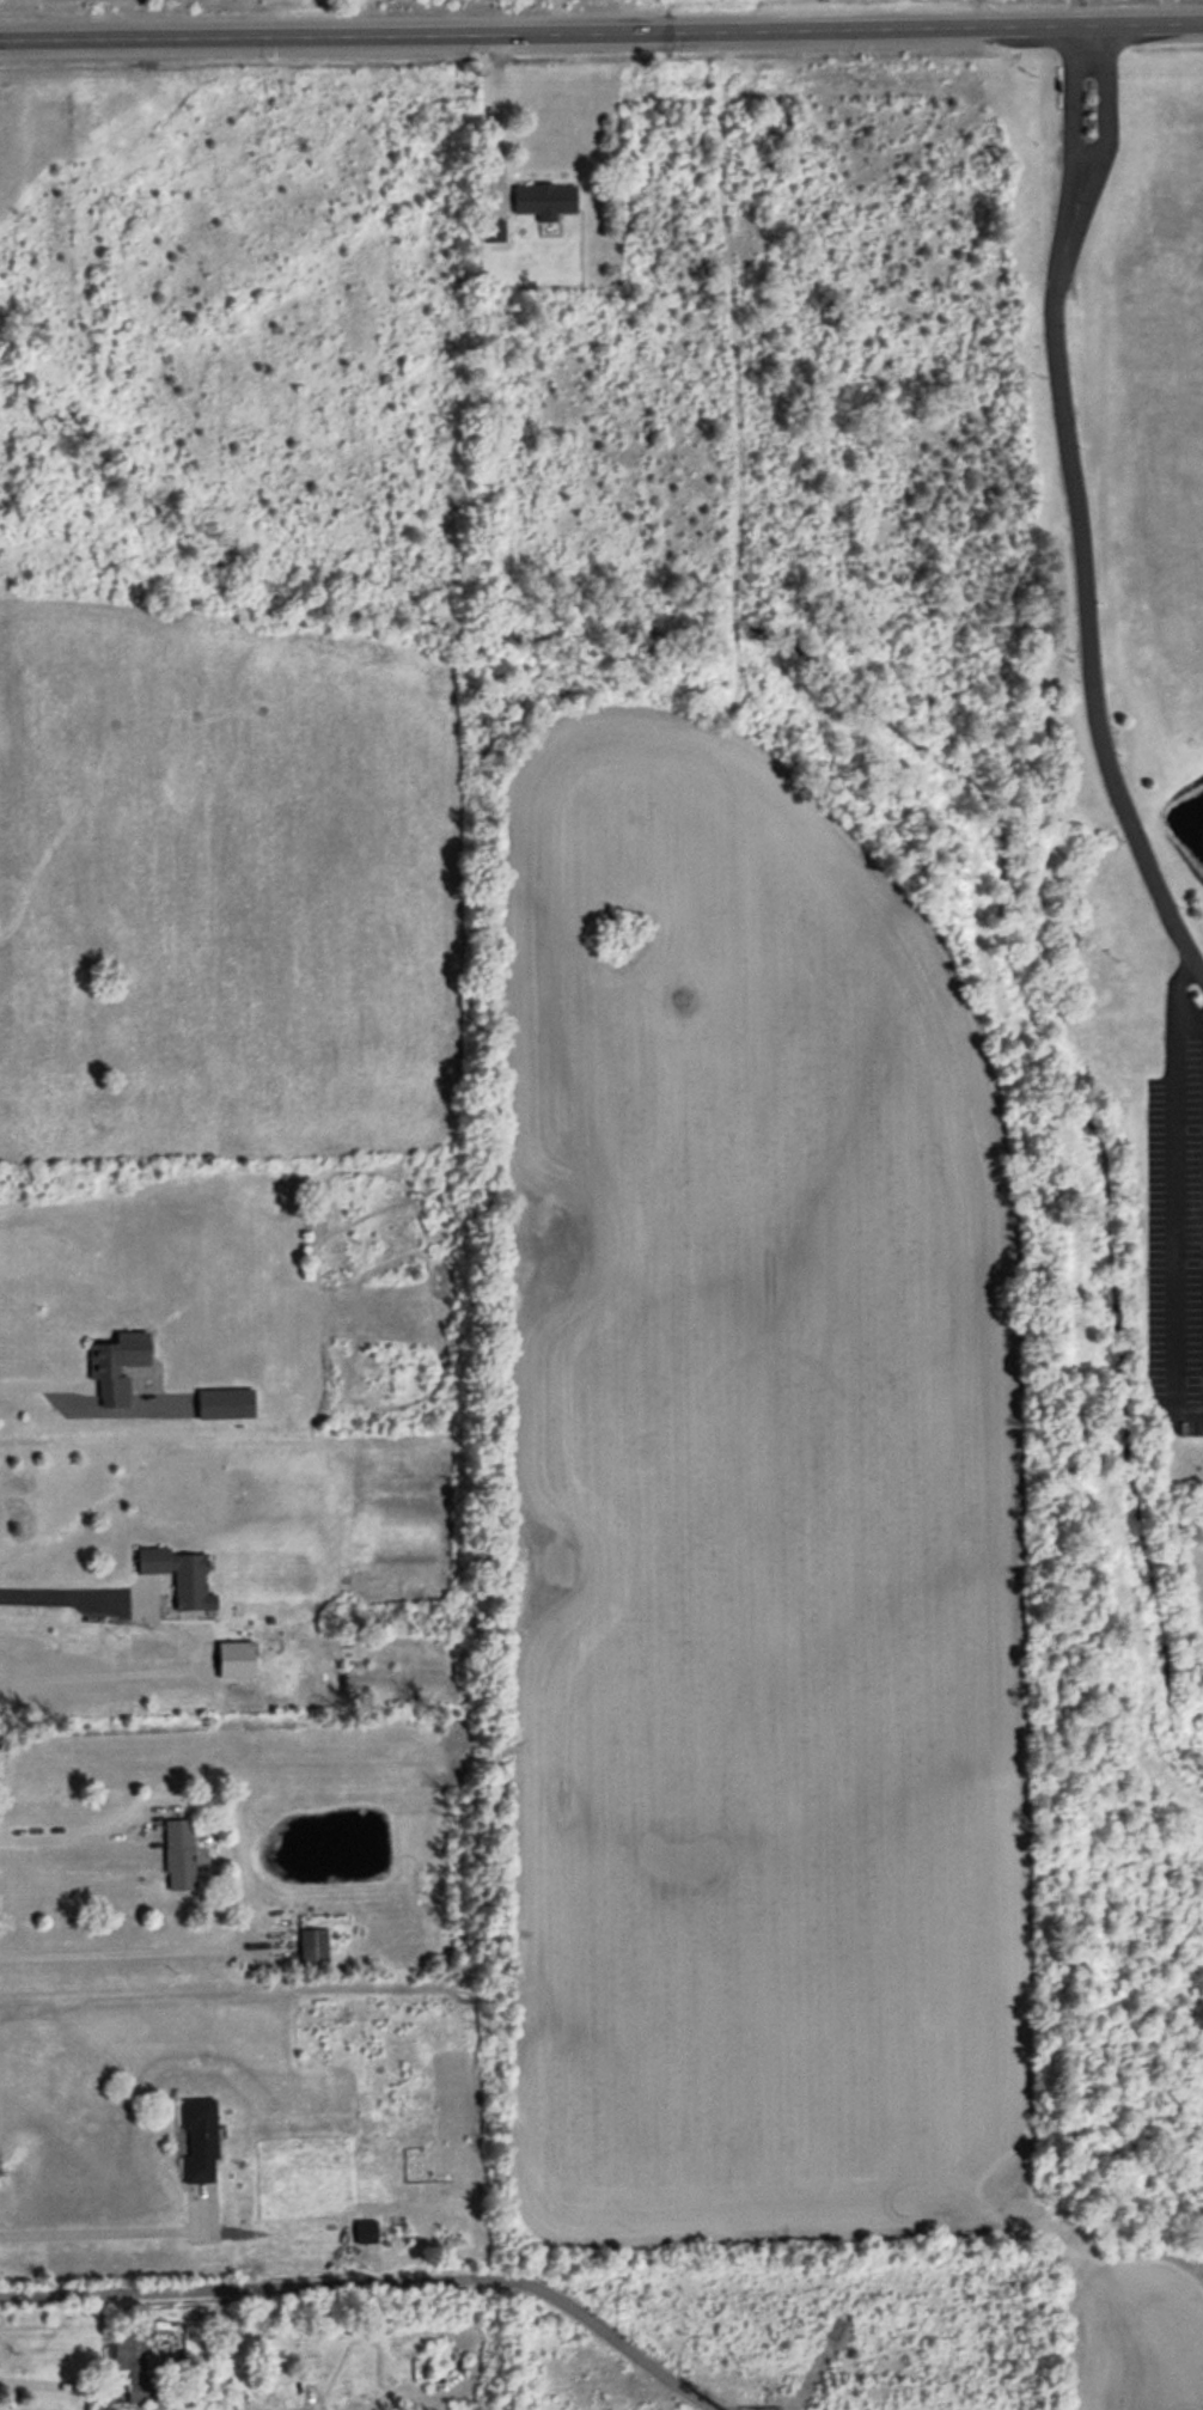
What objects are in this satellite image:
road: (981, 10)
road: (600, 25)
road: (491, 111)
building: (543, 201)
road: (1071, 511)
road: (1172, 1196)
building: (104, 1369)
road: (45, 1385)
building: (216, 1405)
building: (176, 1576)
road: (194, 1649)
road: (71, 1837)
building: (178, 1857)
building: (312, 1948)
road: (127, 1952)
building: (197, 2141)
road: (104, 2231)
building: (365, 2233)
building: (133, 2368)
road: (59, 2385)

